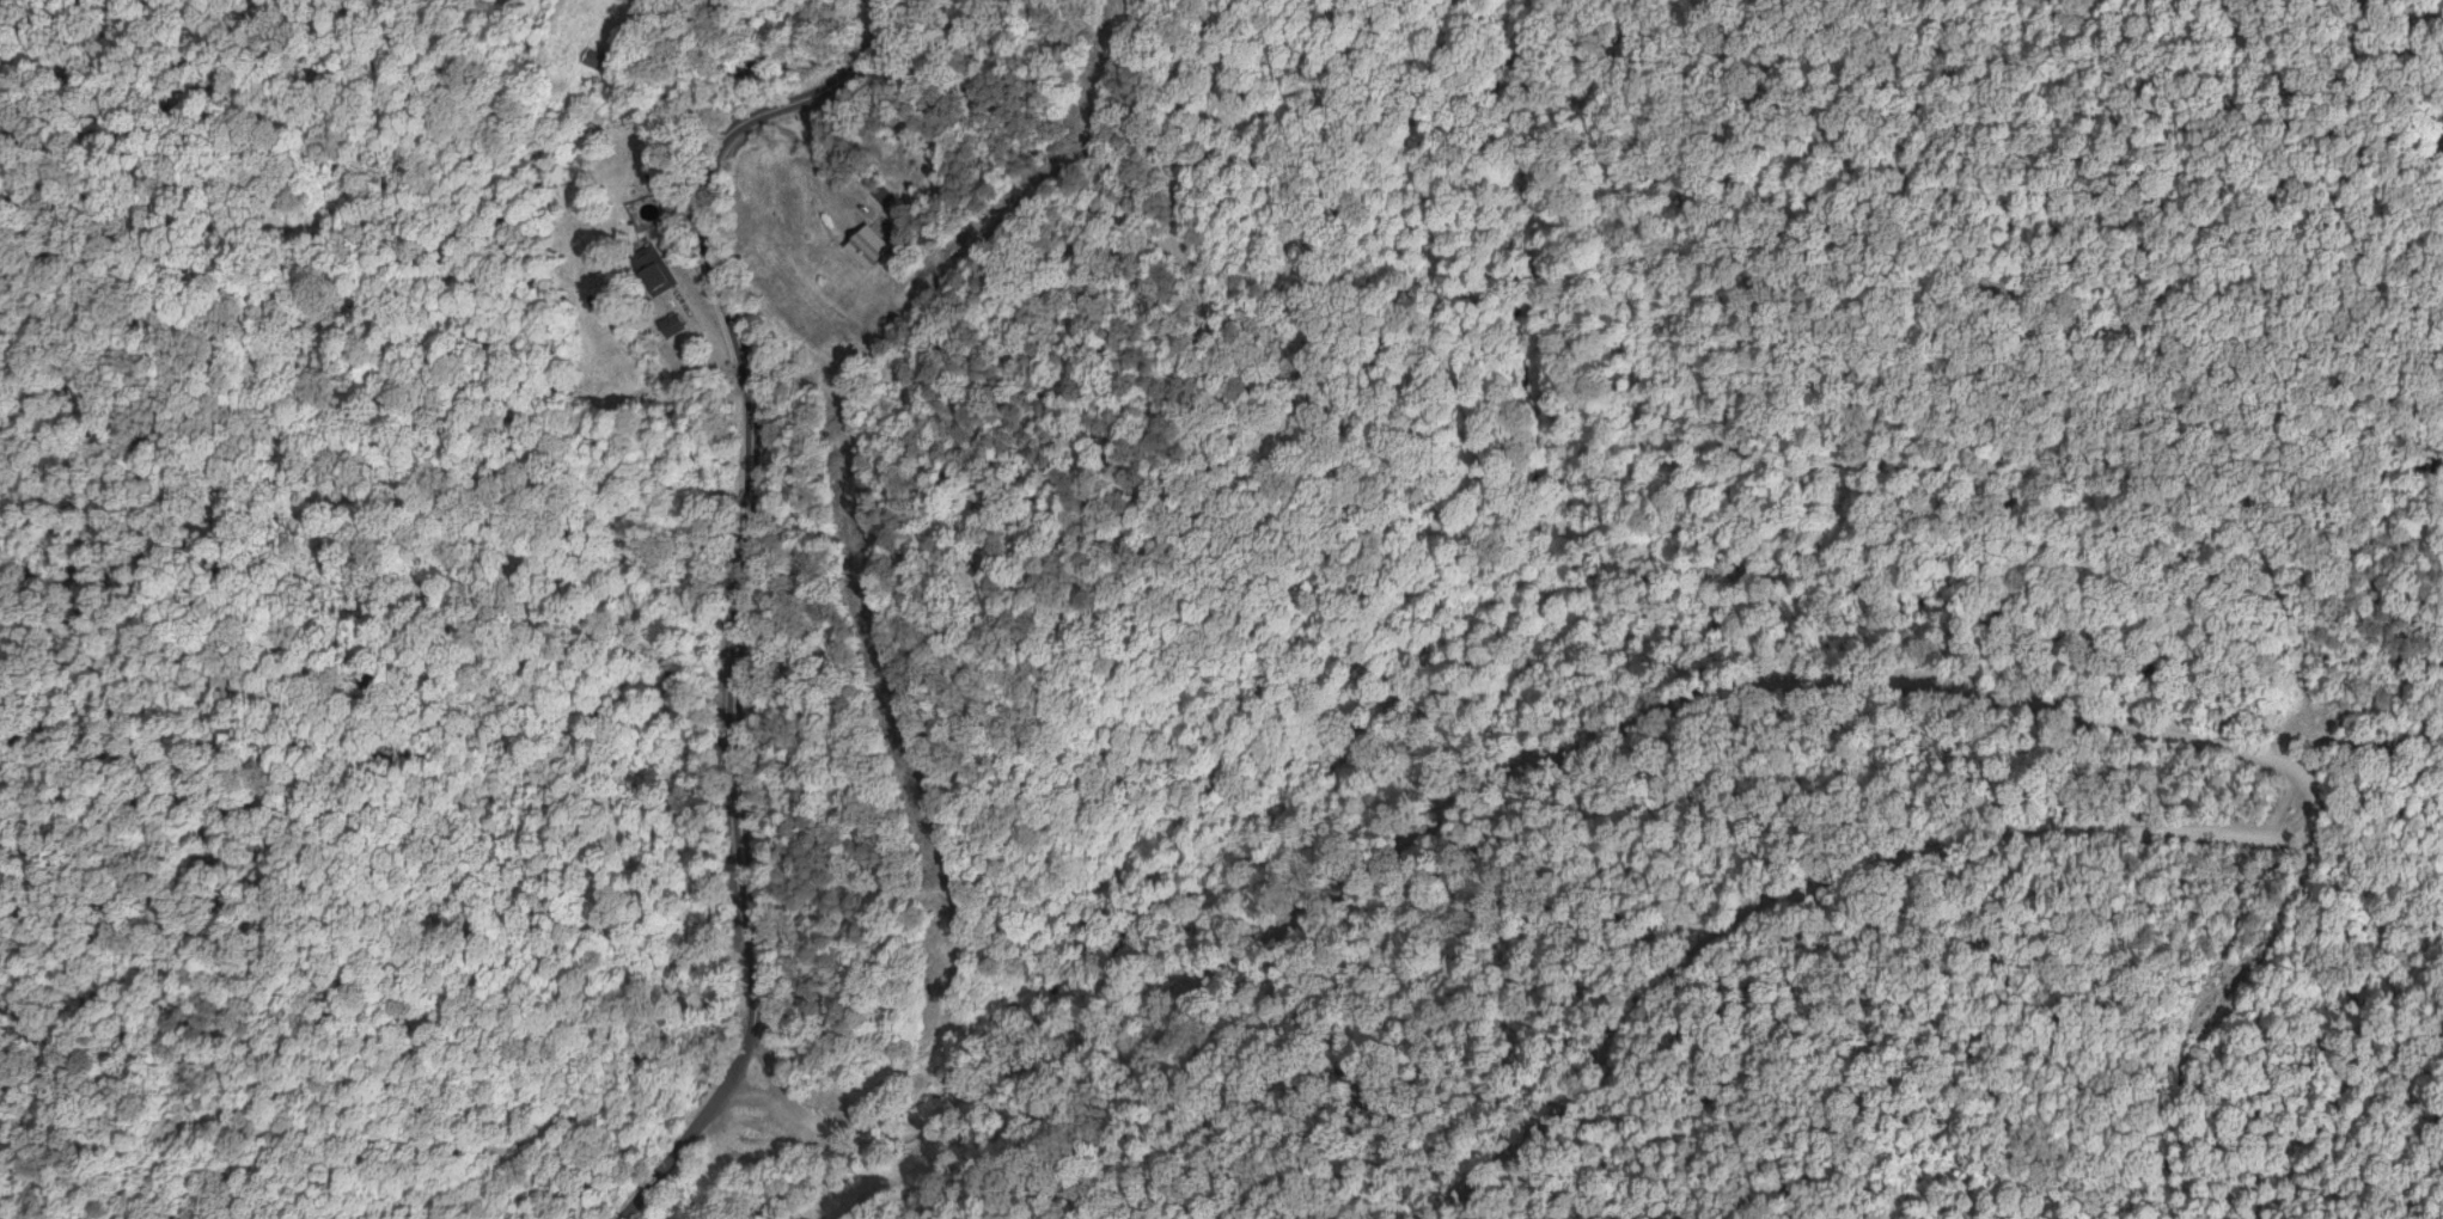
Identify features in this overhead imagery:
building: (596, 59)
road: (813, 152)
building: (871, 246)
building: (653, 269)
building: (673, 324)
road: (746, 503)
road: (2369, 740)
road: (1404, 832)
road: (1830, 878)

